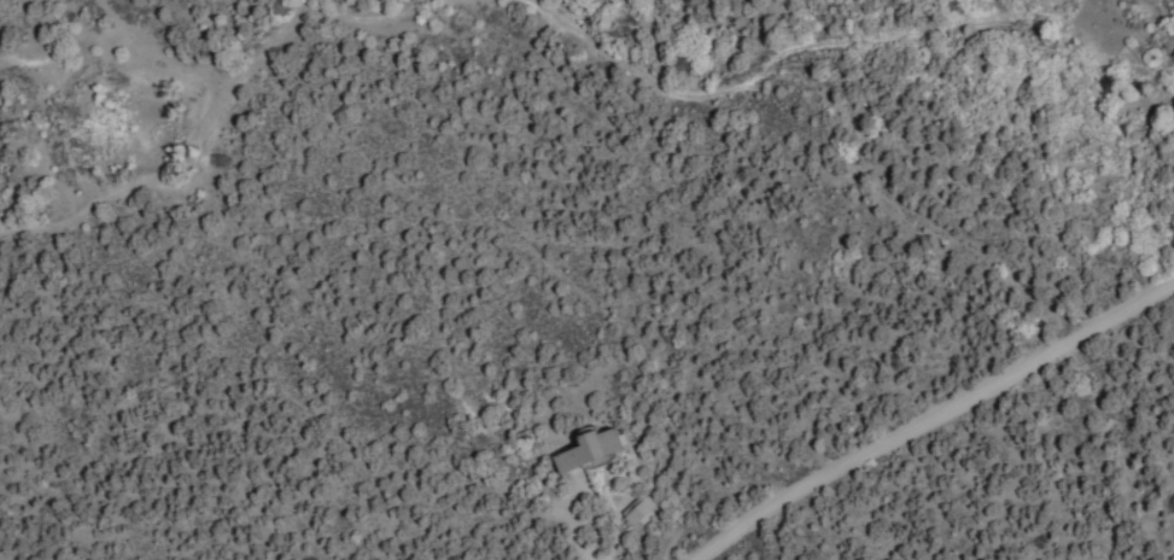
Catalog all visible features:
building: (600, 448)
building: (642, 507)

